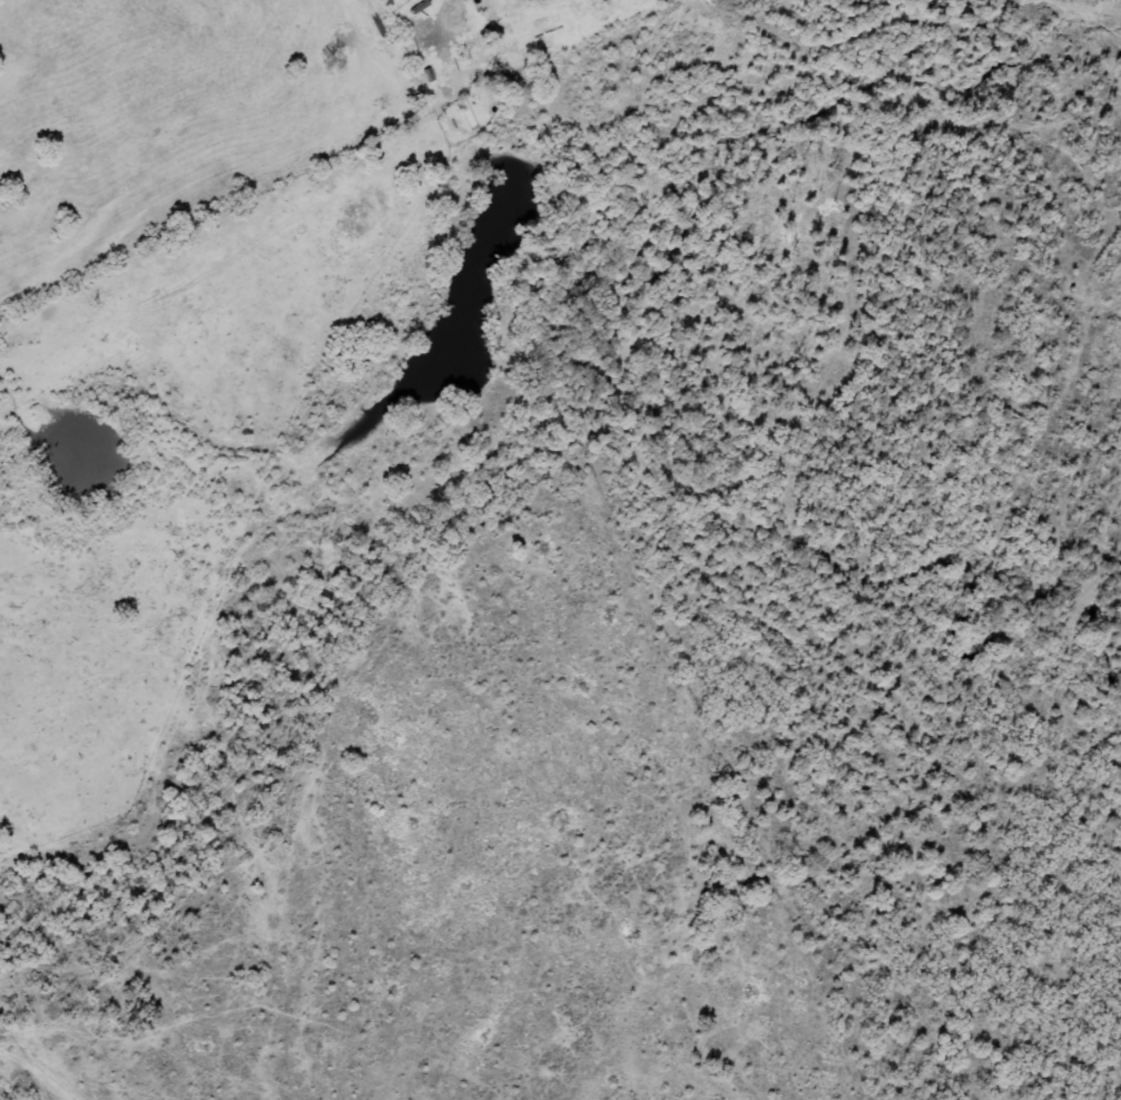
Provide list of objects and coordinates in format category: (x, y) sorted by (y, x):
road: (1095, 12)
road: (58, 1071)

